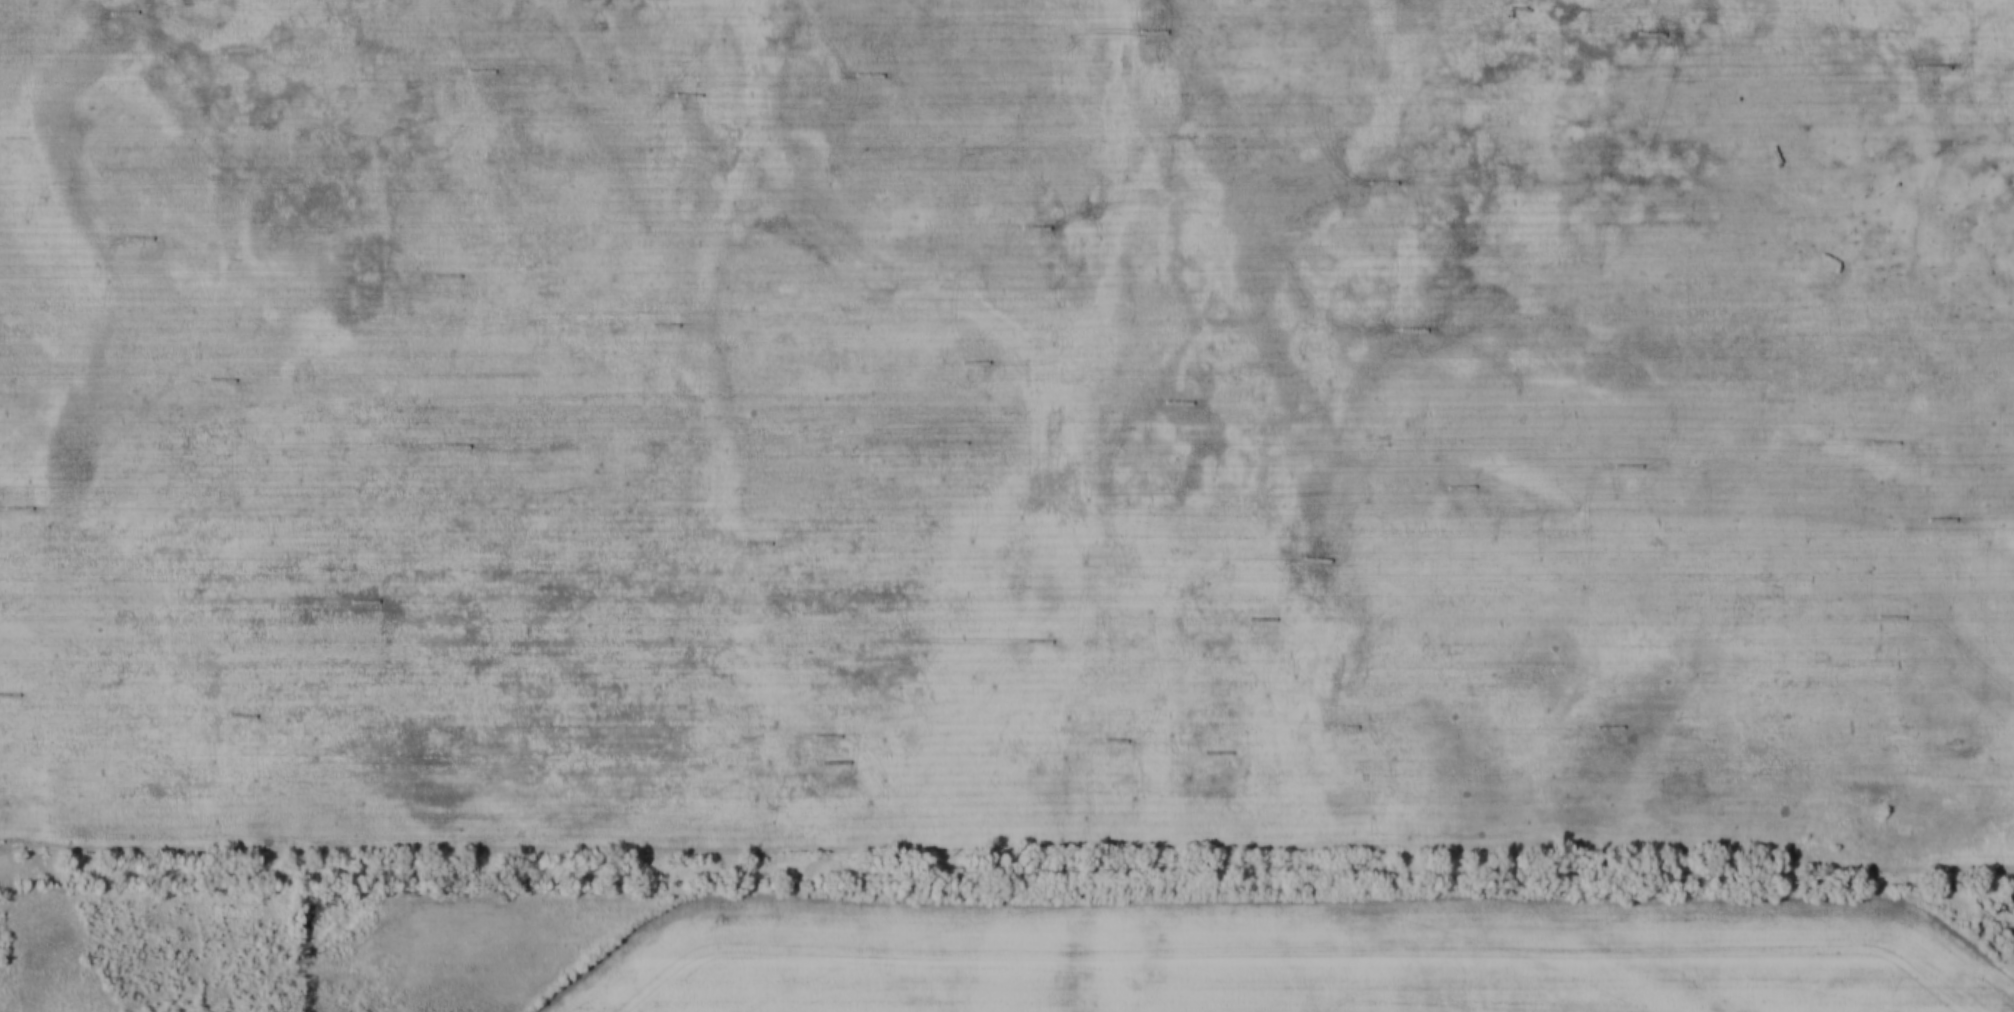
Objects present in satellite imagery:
crop: (1273, 959)

